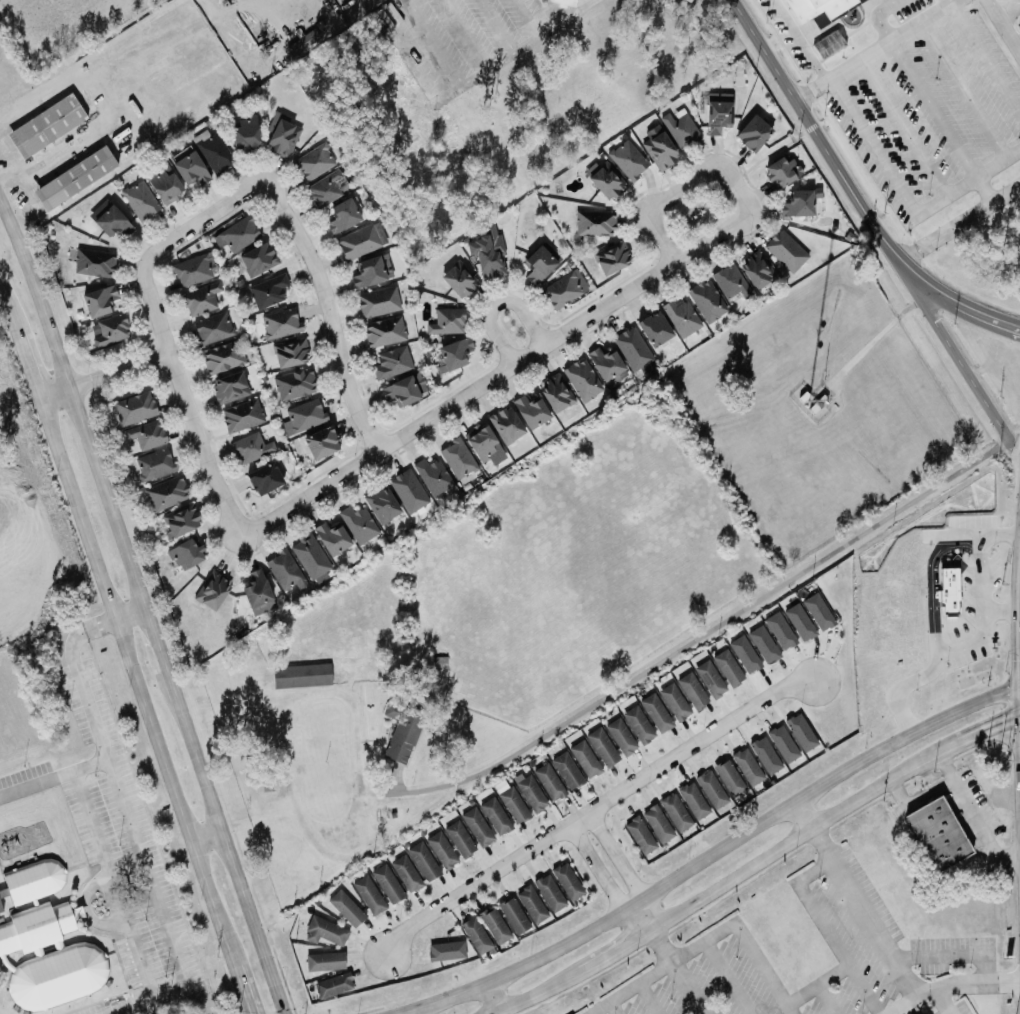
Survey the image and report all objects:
building: (567, 1)
parking lot: (1013, 11)
building: (815, 14)
road: (878, 15)
road: (564, 16)
road: (1005, 23)
crop: (54, 31)
road: (798, 39)
road: (428, 42)
building: (303, 44)
building: (828, 45)
road: (872, 47)
road: (511, 49)
road: (107, 54)
parking lot: (909, 92)
building: (718, 112)
building: (45, 125)
building: (680, 127)
building: (243, 132)
building: (753, 132)
building: (281, 135)
building: (658, 147)
building: (212, 151)
building: (627, 159)
building: (314, 161)
road: (50, 164)
building: (188, 166)
building: (781, 171)
road: (18, 177)
building: (73, 177)
building: (605, 179)
building: (163, 182)
building: (327, 187)
road: (856, 187)
building: (139, 201)
building: (797, 203)
building: (342, 215)
building: (109, 219)
road: (202, 219)
building: (594, 222)
road: (963, 223)
road: (725, 227)
building: (238, 234)
building: (360, 241)
building: (785, 251)
building: (486, 252)
building: (611, 257)
building: (257, 259)
building: (93, 262)
building: (538, 264)
building: (193, 269)
building: (756, 270)
building: (371, 271)
building: (458, 280)
building: (730, 281)
building: (564, 289)
building: (267, 291)
building: (200, 298)
road: (7, 300)
building: (98, 300)
building: (706, 300)
building: (377, 302)
road: (494, 304)
road: (151, 308)
road: (327, 310)
building: (681, 317)
building: (446, 322)
building: (279, 323)
building: (212, 328)
building: (654, 328)
building: (110, 330)
building: (384, 332)
road: (877, 335)
building: (633, 350)
building: (289, 353)
building: (453, 354)
road: (958, 354)
road: (30, 355)
building: (222, 357)
building: (391, 362)
building: (607, 366)
road: (104, 377)
building: (582, 380)
building: (294, 384)
building: (228, 387)
building: (404, 389)
building: (554, 392)
road: (458, 395)
road: (42, 400)
building: (134, 408)
building: (530, 410)
building: (241, 415)
building: (302, 416)
building: (505, 424)
building: (145, 434)
building: (321, 442)
building: (482, 443)
road: (199, 445)
building: (250, 447)
building: (457, 458)
building: (154, 464)
building: (432, 476)
building: (263, 478)
road: (306, 491)
building: (407, 491)
building: (165, 492)
building: (381, 504)
building: (180, 520)
building: (357, 524)
building: (331, 538)
building: (185, 553)
building: (309, 556)
crop: (576, 563)
building: (283, 570)
road: (1019, 572)
building: (255, 588)
building: (211, 590)
road: (147, 608)
building: (818, 612)
road: (131, 613)
road: (1001, 613)
building: (799, 622)
road: (101, 624)
road: (707, 628)
building: (779, 630)
road: (971, 634)
building: (763, 644)
road: (1019, 648)
building: (744, 654)
traffic signals: (1019, 658)
building: (727, 668)
building: (300, 675)
building: (709, 679)
road: (137, 681)
building: (692, 691)
building: (674, 702)
building: (655, 713)
road: (1018, 715)
traffic signals: (1002, 722)
building: (638, 725)
road: (987, 728)
building: (401, 731)
building: (800, 732)
building: (620, 737)
road: (101, 742)
road: (1017, 742)
building: (783, 743)
building: (601, 747)
building: (765, 755)
building: (584, 759)
building: (747, 767)
building: (566, 770)
building: (268, 777)
building: (728, 778)
building: (548, 782)
building: (711, 790)
building: (530, 792)
building: (693, 801)
building: (510, 802)
road: (596, 807)
building: (675, 812)
road: (970, 814)
building: (495, 816)
building: (657, 824)
building: (476, 827)
road: (206, 834)
building: (938, 834)
building: (639, 835)
building: (459, 839)
building: (441, 850)
road: (719, 851)
building: (423, 861)
building: (406, 873)
building: (32, 881)
building: (567, 881)
road: (722, 882)
building: (387, 884)
road: (151, 887)
building: (549, 893)
building: (368, 895)
road: (114, 903)
road: (811, 903)
building: (531, 904)
building: (345, 908)
building: (0, 909)
building: (513, 916)
building: (494, 925)
road: (733, 925)
road: (651, 928)
building: (324, 932)
road: (880, 933)
building: (475, 935)
road: (661, 945)
building: (445, 951)
building: (46, 959)
building: (324, 961)
road: (906, 976)
road: (728, 977)
building: (332, 985)
road: (249, 988)
road: (686, 988)
road: (864, 989)
road: (951, 990)
road: (650, 997)
road: (499, 998)
road: (946, 1003)
road: (613, 1007)
road: (793, 1009)

